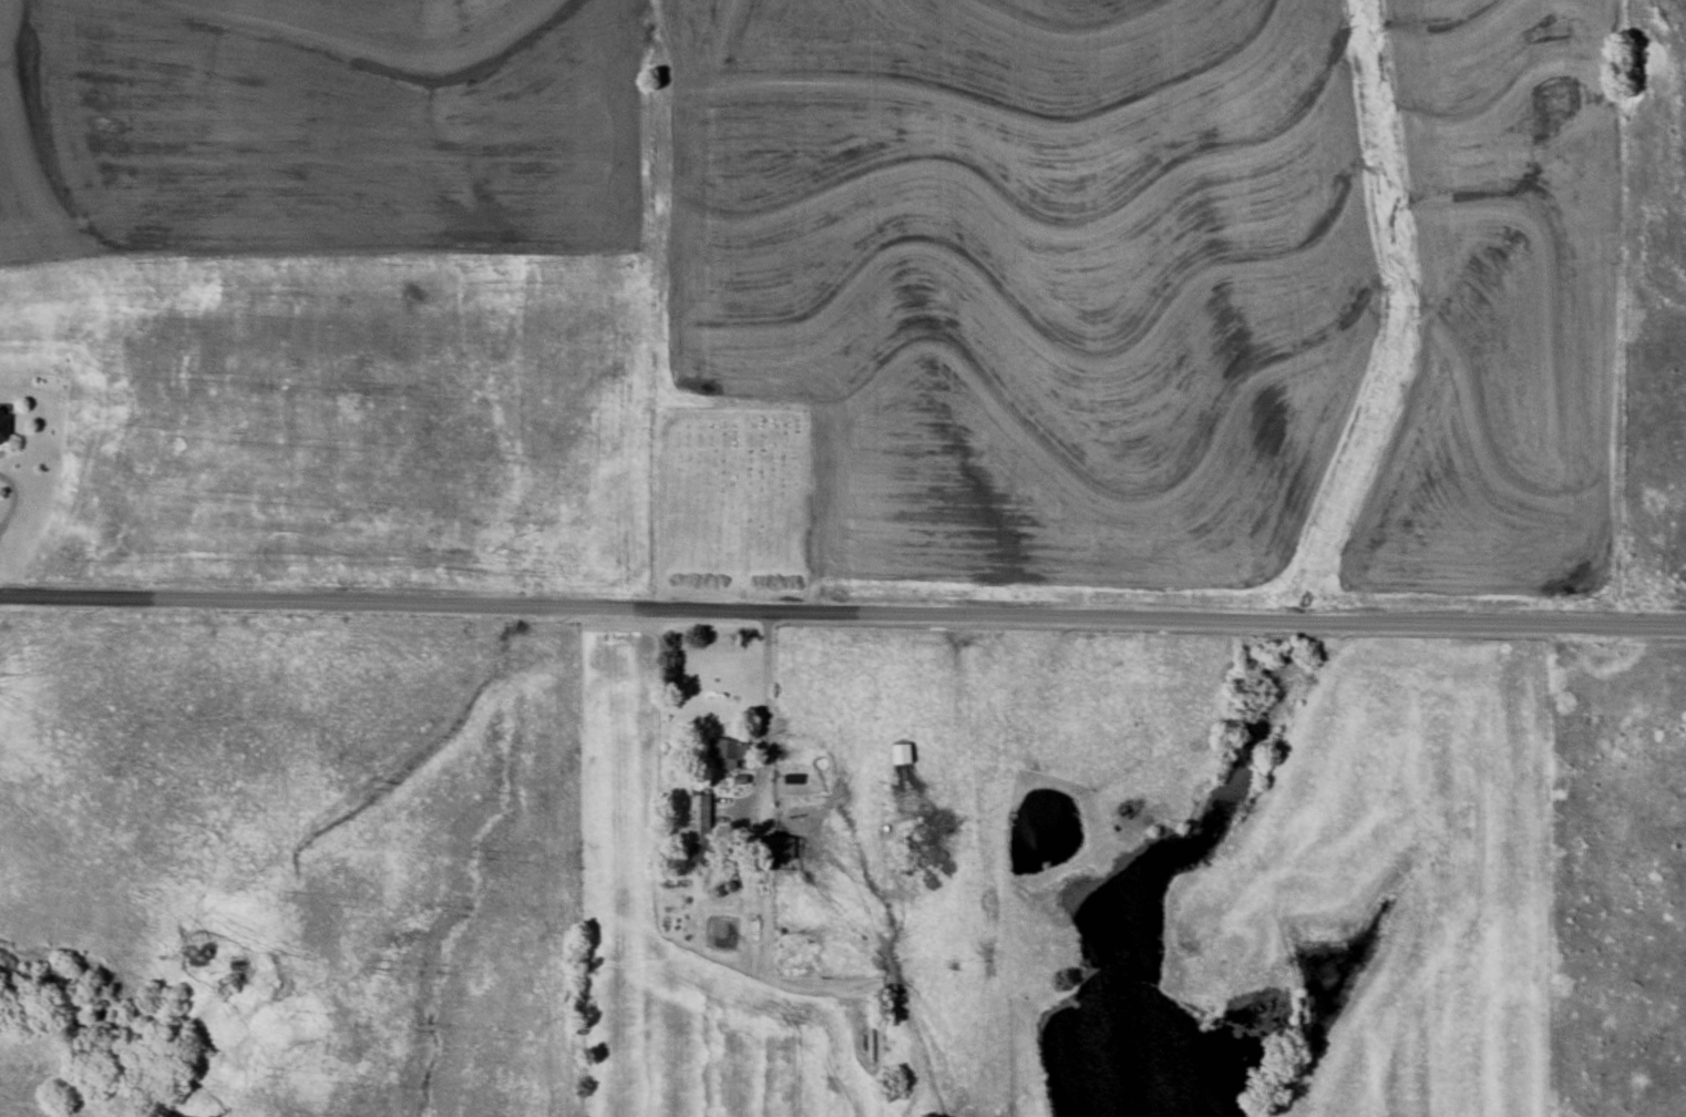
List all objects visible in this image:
building: (4, 429)
road: (13, 501)
park: (730, 504)
road: (842, 612)
road: (767, 718)
building: (728, 754)
building: (904, 756)
building: (700, 828)
building: (772, 850)

